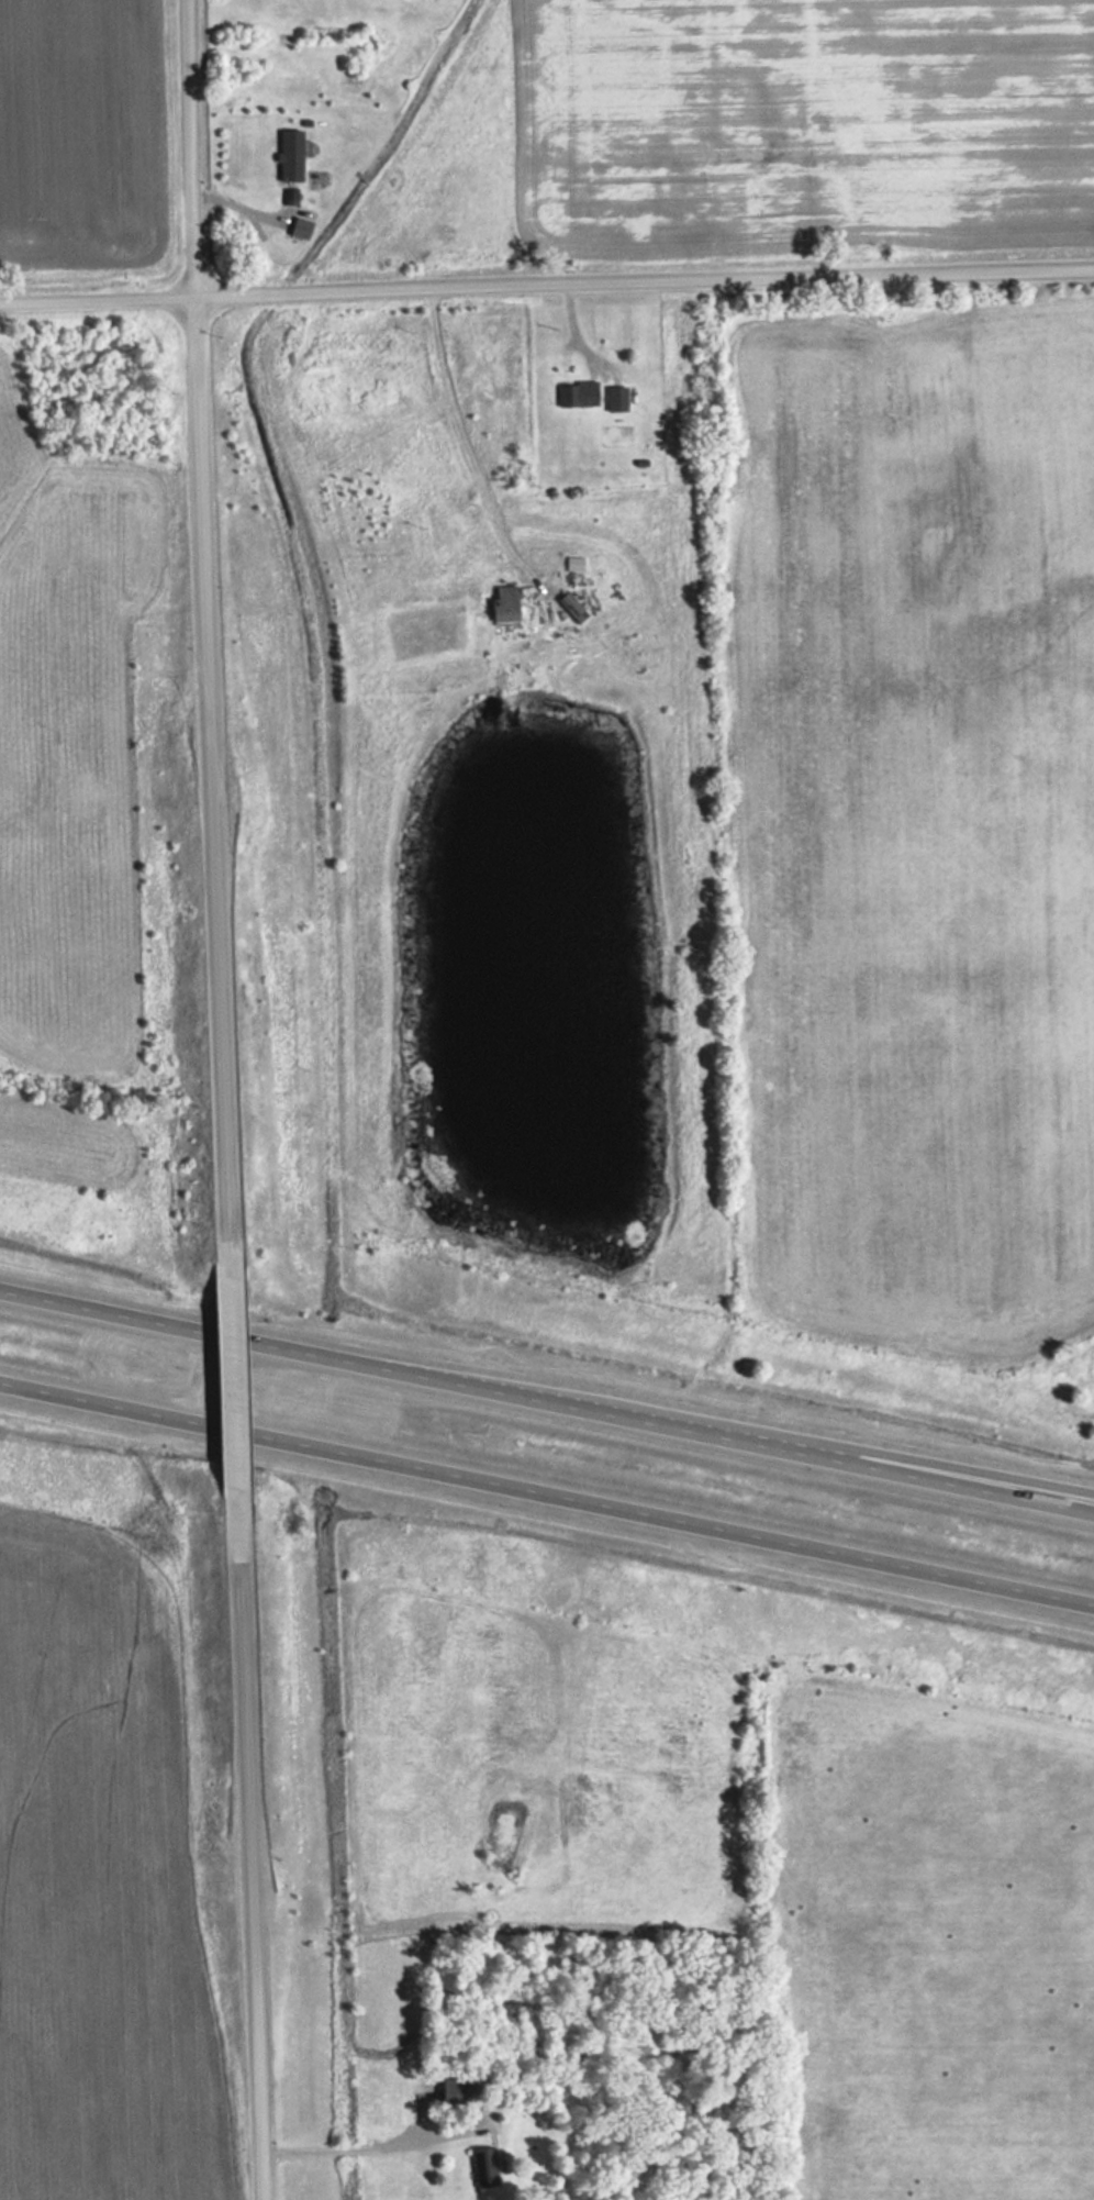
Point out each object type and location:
building: (297, 154)
building: (305, 226)
road: (546, 286)
building: (581, 395)
building: (622, 398)
road: (469, 442)
building: (511, 602)
road: (202, 635)
road: (230, 1377)
road: (546, 1398)
road: (993, 1477)
road: (546, 1495)
road: (246, 1842)
building: (460, 2092)
road: (376, 2145)
building: (487, 2167)

